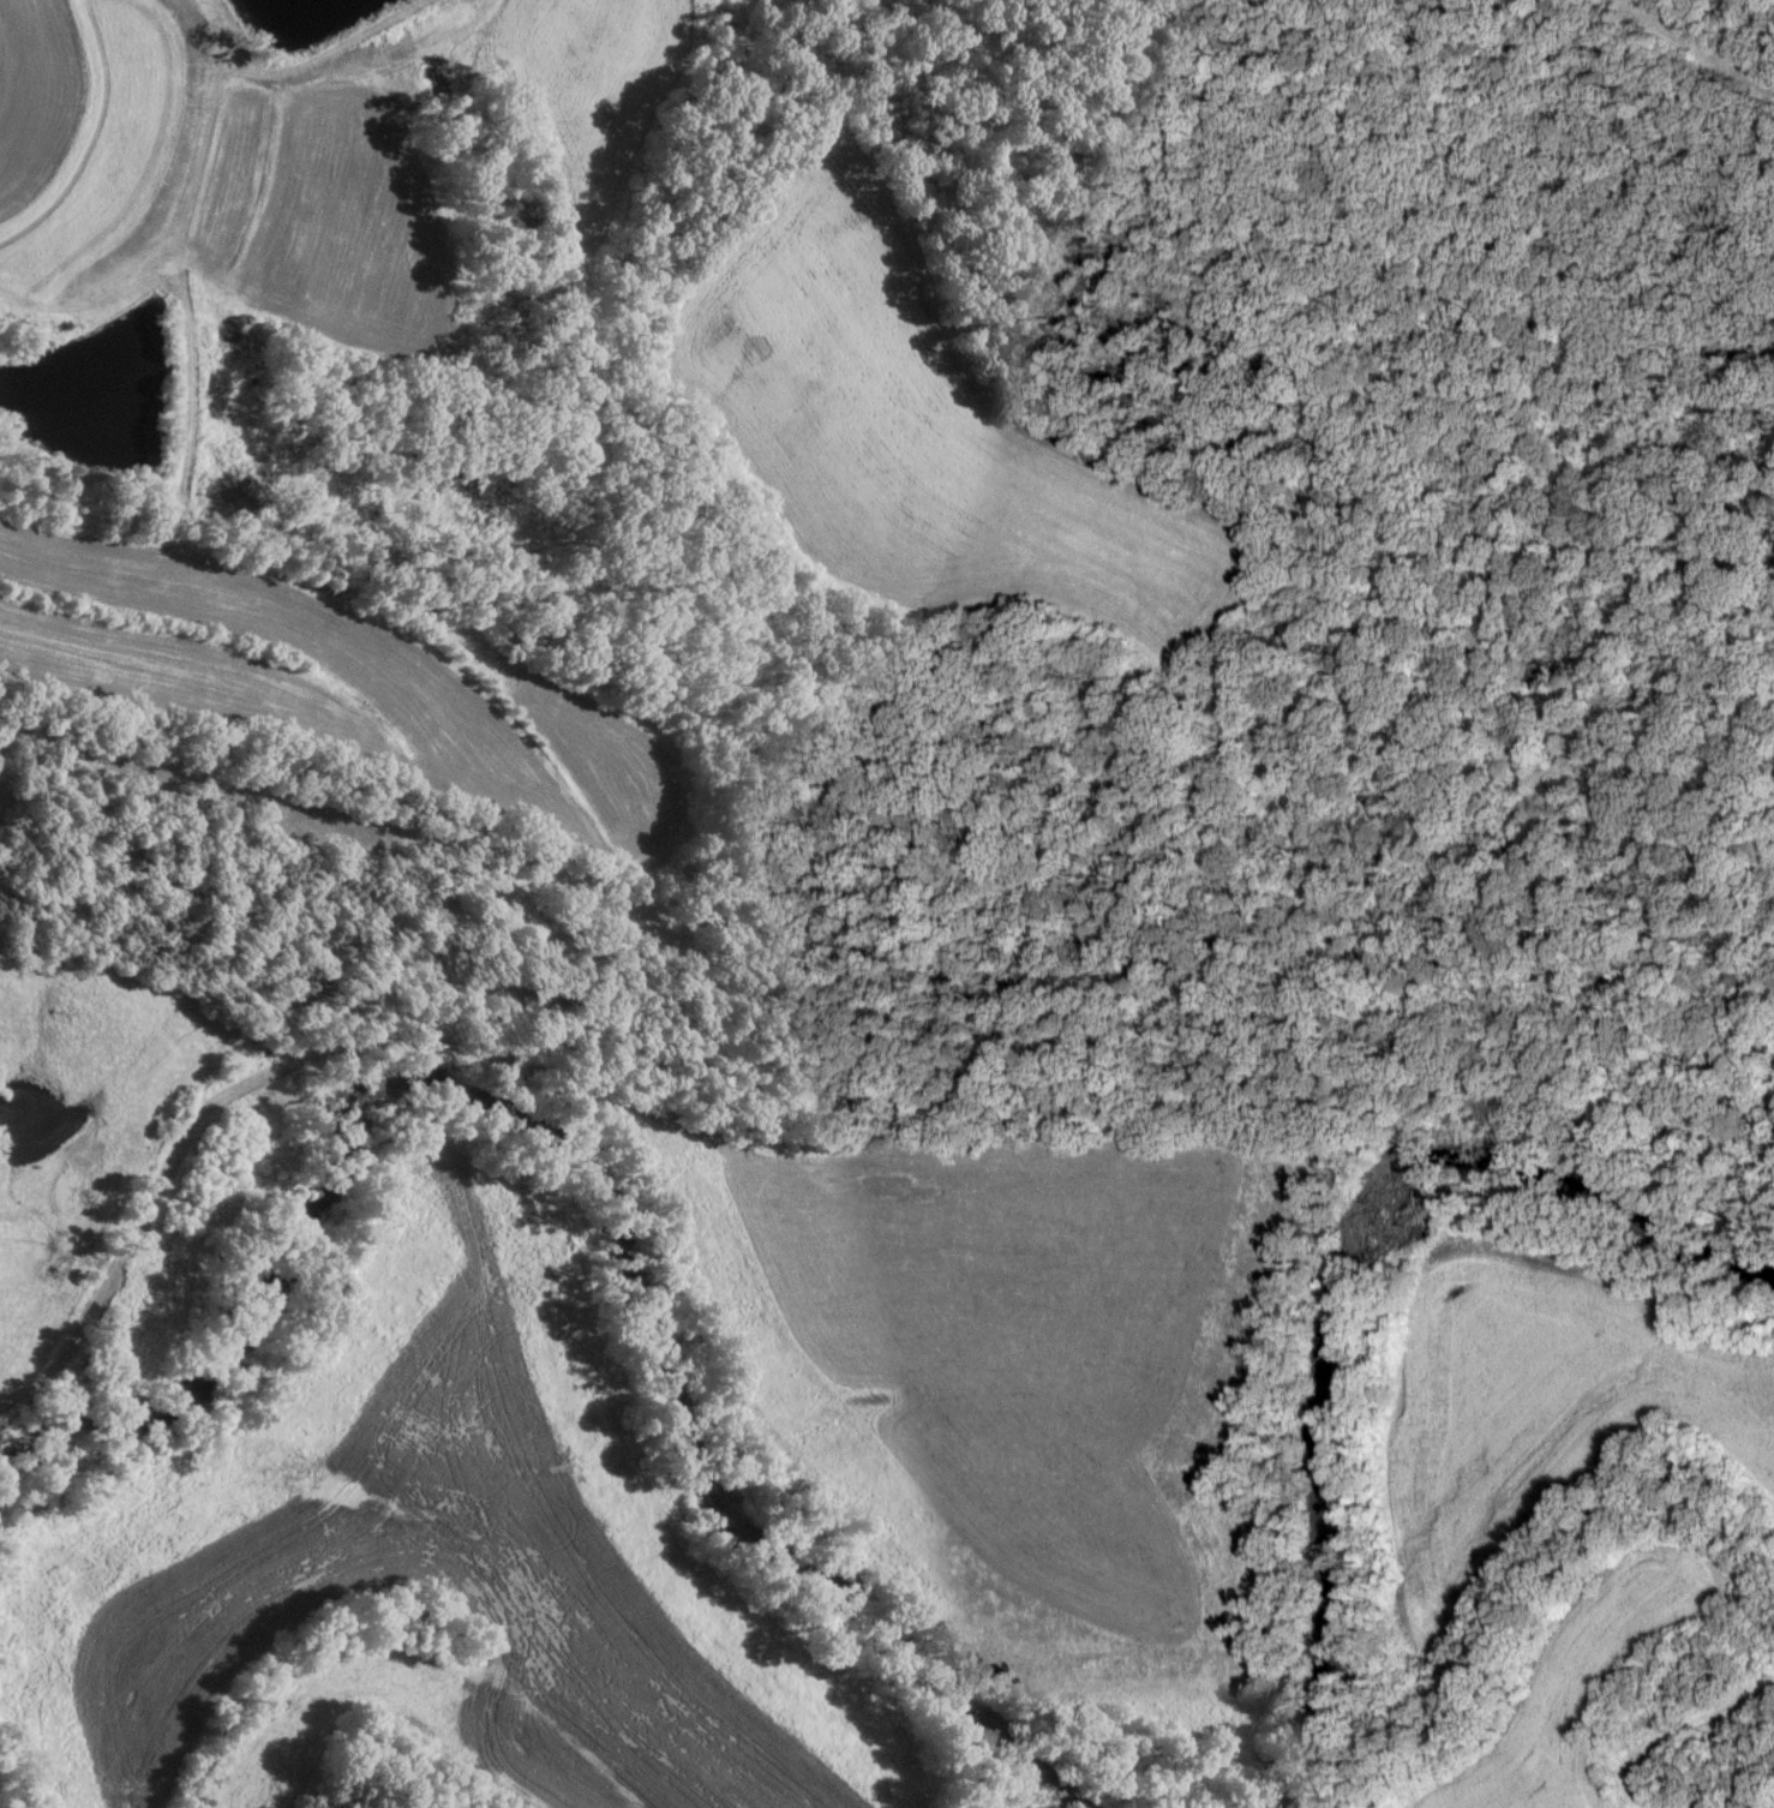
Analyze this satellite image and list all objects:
road: (1772, 2)
river: (586, 1165)
river: (1340, 1286)
river: (2, 1797)

